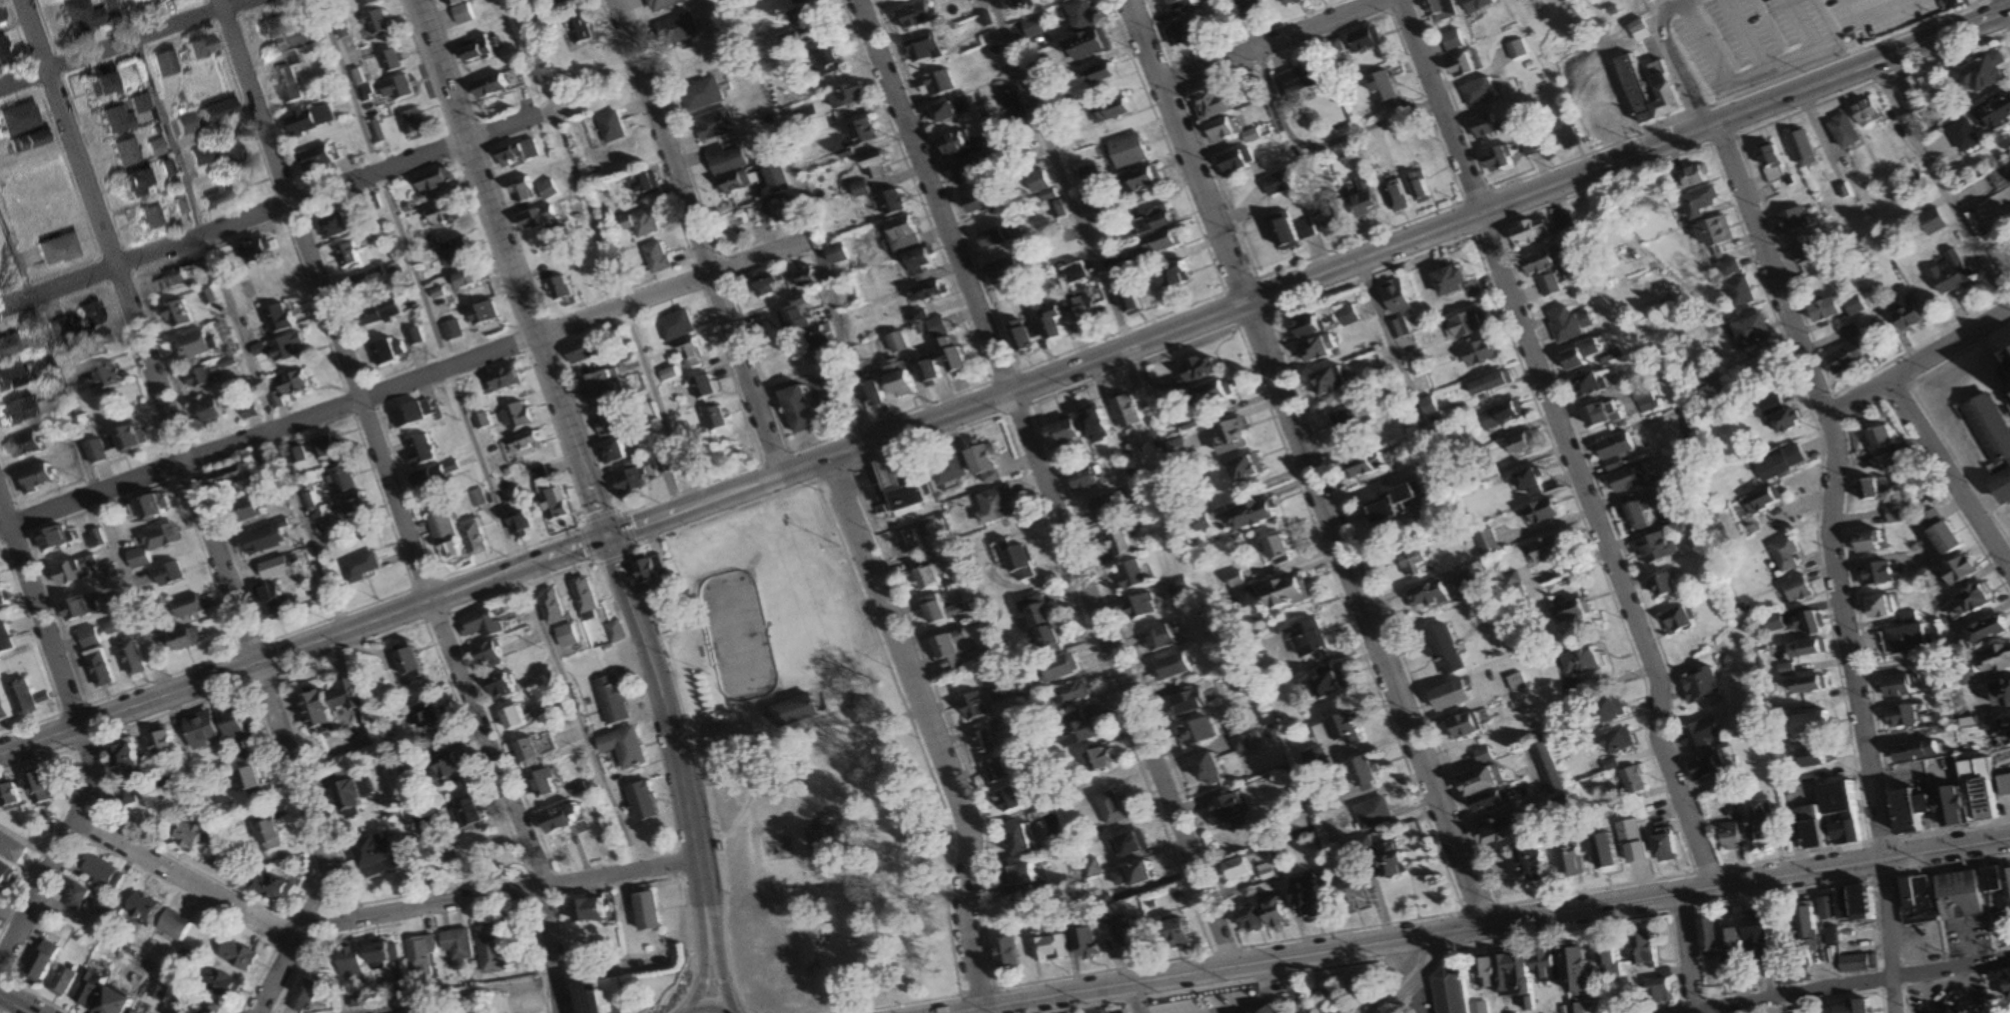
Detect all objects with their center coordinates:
road: (1879, 13)
road: (1751, 34)
road: (1145, 41)
road: (1274, 41)
road: (122, 43)
road: (1681, 57)
road: (1759, 73)
road: (1296, 141)
road: (1626, 155)
road: (1061, 173)
road: (1940, 185)
road: (1203, 191)
road: (276, 206)
road: (699, 236)
road: (603, 253)
road: (513, 269)
road: (1322, 292)
road: (829, 305)
road: (232, 315)
road: (1919, 362)
road: (405, 383)
road: (926, 420)
road: (474, 437)
road: (1567, 440)
road: (83, 453)
road: (1949, 475)
road: (1046, 483)
road: (398, 505)
road: (202, 509)
traffic signals: (609, 539)
road: (631, 547)
road: (1831, 558)
road: (1364, 612)
road: (303, 644)
road: (847, 683)
building: (792, 709)
road: (928, 728)
road: (84, 738)
road: (785, 742)
road: (676, 748)
park: (807, 767)
road: (704, 777)
road: (669, 785)
building: (721, 843)
road: (658, 857)
road: (1747, 880)
road: (341, 886)
road: (373, 913)
road: (1449, 932)
road: (1685, 952)
road: (1184, 974)
road: (1402, 979)
road: (1235, 983)
road: (1845, 988)
road: (184, 989)
road: (722, 990)
road: (712, 991)
road: (1961, 991)
road: (706, 992)
road: (34, 994)
road: (1926, 994)
road: (460, 996)
building: (601, 996)
road: (1132, 998)
road: (1240, 1001)
road: (18, 1002)
road: (904, 1005)
road: (1780, 1005)
road: (711, 1006)
road: (982, 1011)

